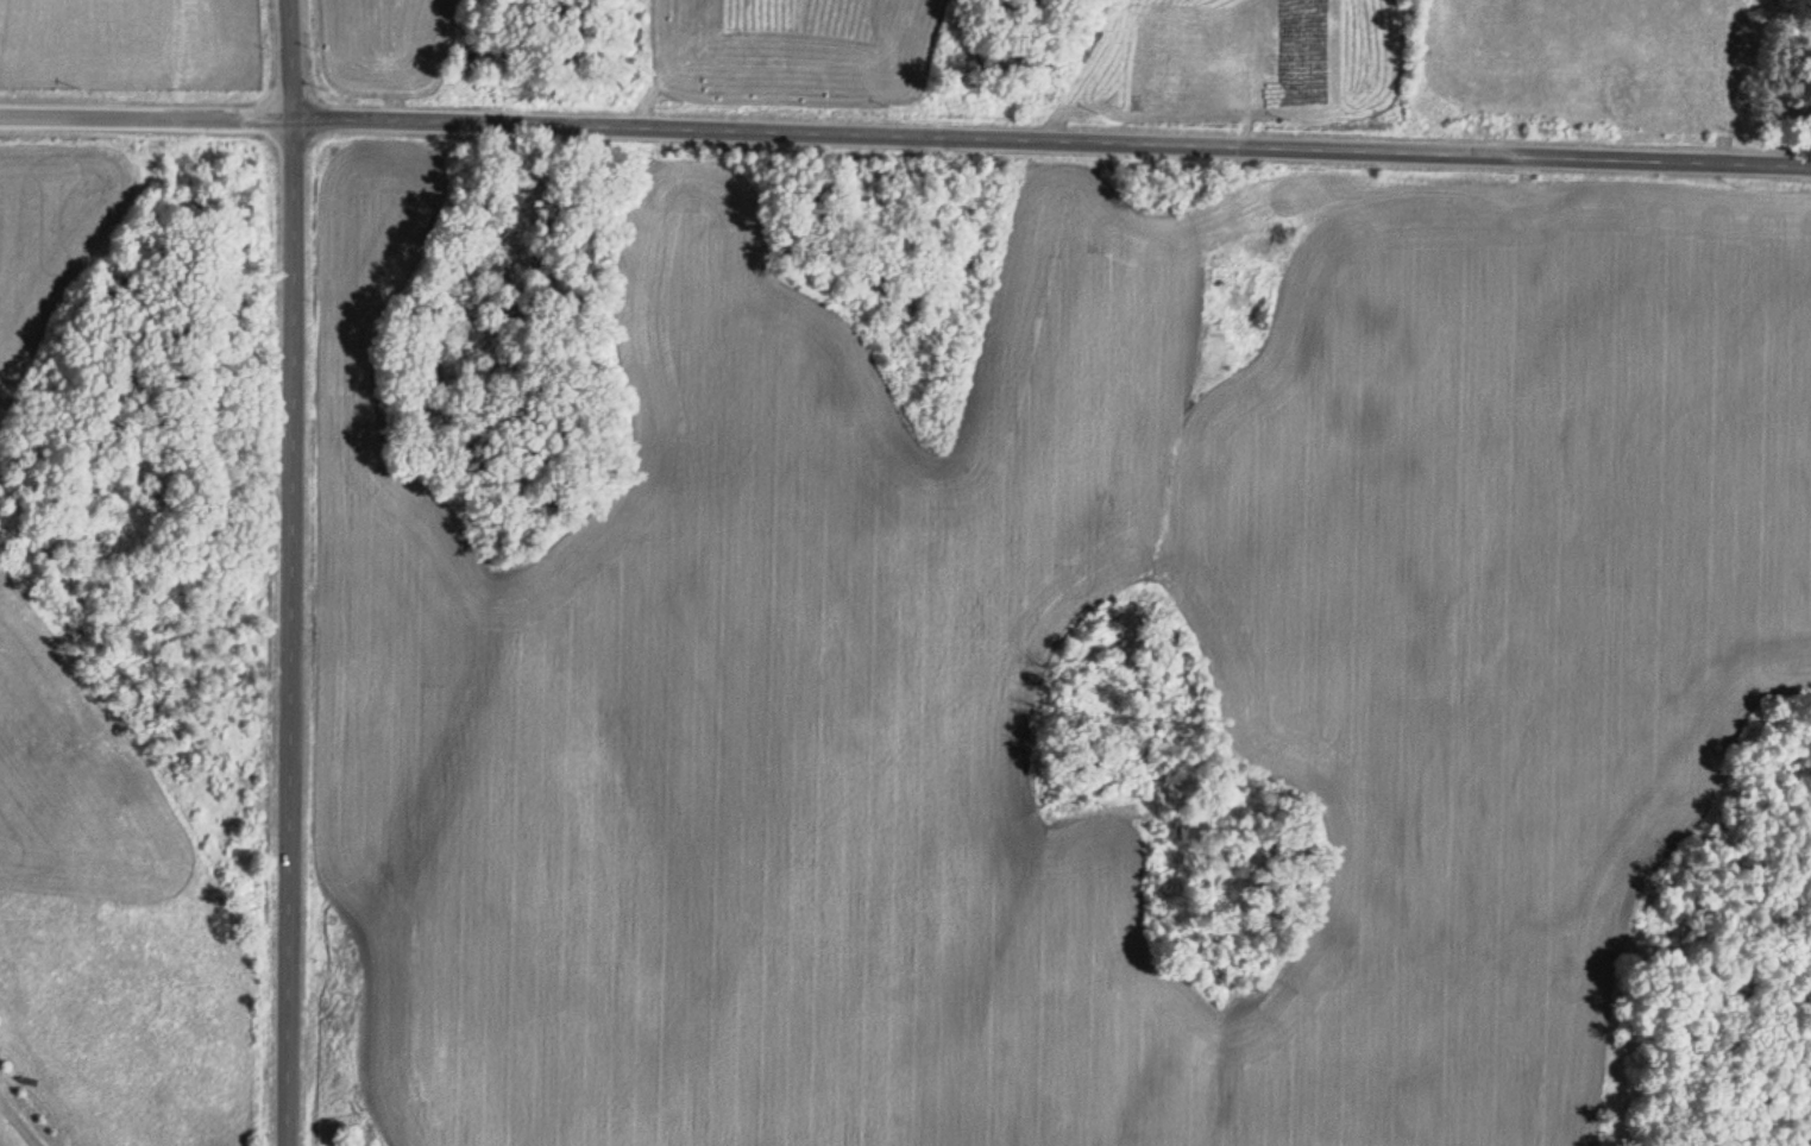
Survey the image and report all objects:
road: (289, 59)
road: (146, 118)
road: (1051, 141)
road: (288, 632)

